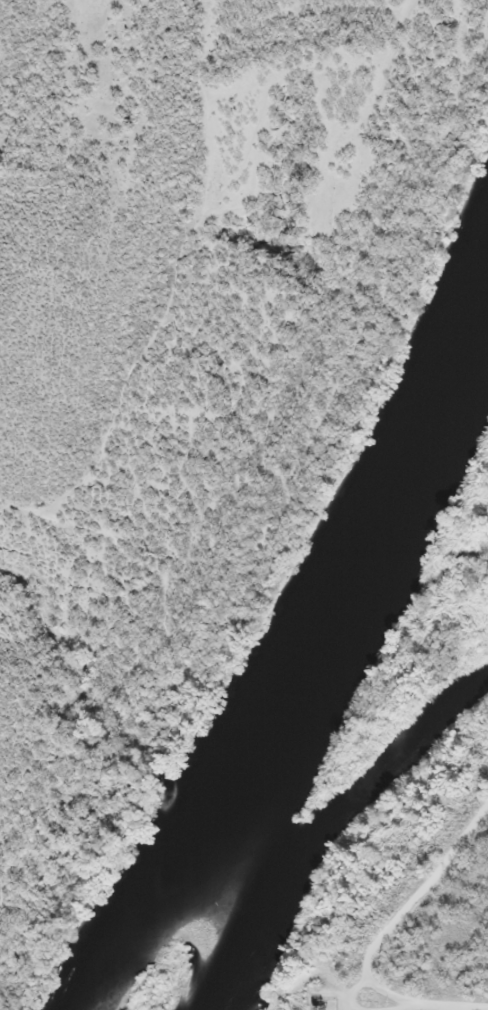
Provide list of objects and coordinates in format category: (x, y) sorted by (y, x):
river: (322, 662)

